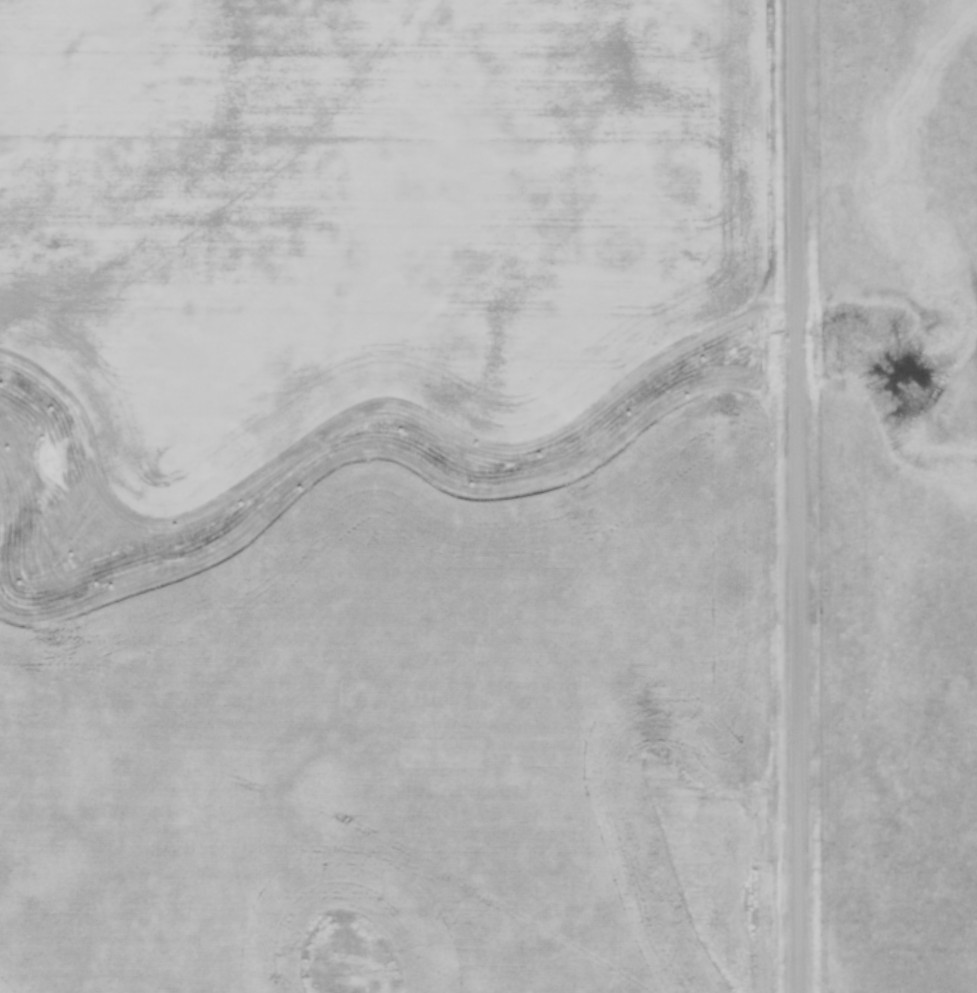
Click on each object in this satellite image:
road: (798, 496)

